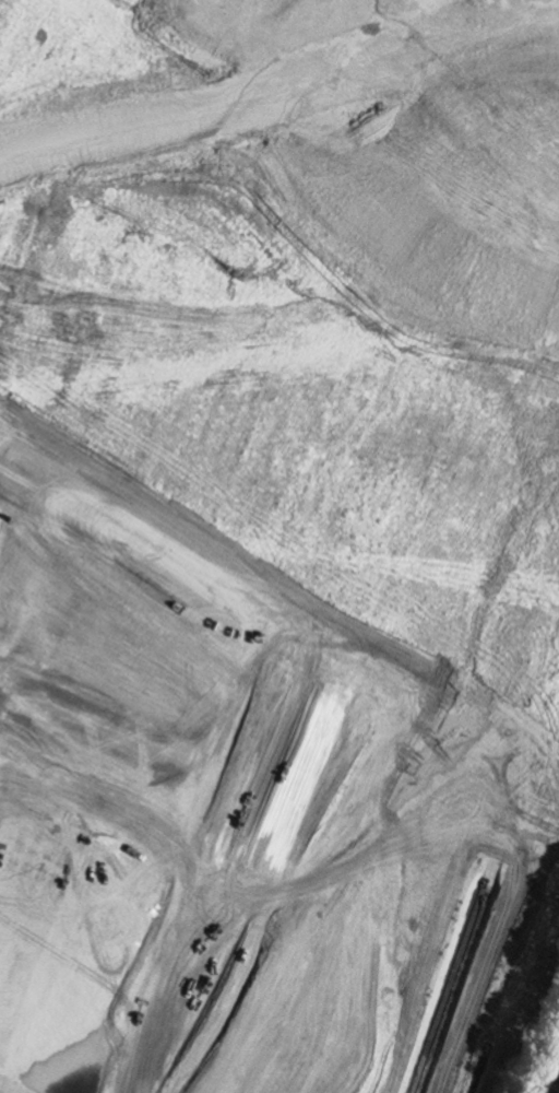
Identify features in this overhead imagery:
road: (556, 1084)

